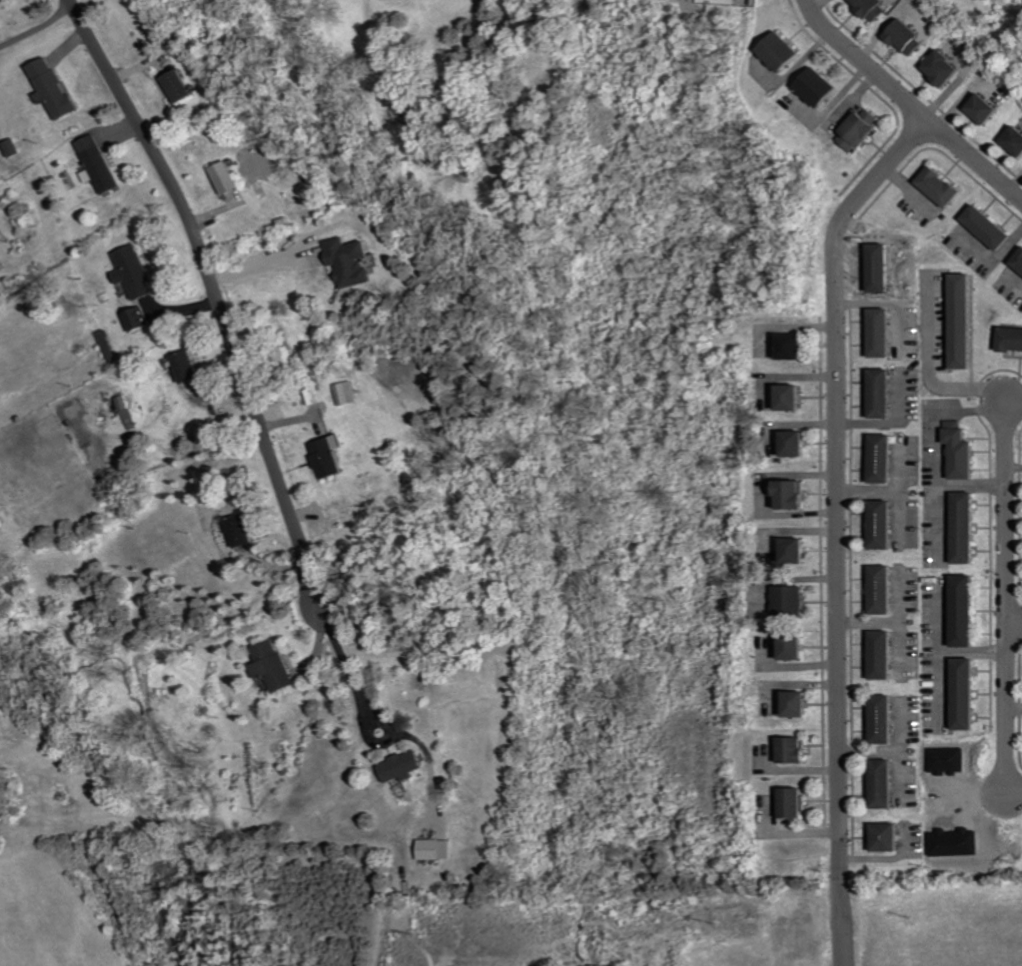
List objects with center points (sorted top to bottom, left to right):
building: (872, 8)
building: (909, 37)
building: (785, 51)
building: (948, 68)
building: (181, 86)
building: (822, 87)
building: (55, 88)
road: (910, 105)
building: (988, 108)
building: (862, 130)
building: (1016, 139)
building: (15, 147)
building: (101, 164)
building: (229, 177)
road: (1014, 180)
building: (943, 186)
building: (989, 226)
building: (352, 261)
building: (1019, 261)
road: (261, 264)
building: (137, 271)
road: (1014, 283)
road: (216, 295)
building: (142, 319)
building: (964, 320)
building: (883, 332)
building: (1012, 338)
building: (797, 346)
building: (191, 366)
building: (346, 393)
building: (884, 393)
building: (796, 397)
road: (1013, 401)
road: (890, 421)
building: (800, 443)
road: (932, 446)
building: (963, 450)
building: (332, 456)
building: (885, 458)
road: (1013, 465)
road: (837, 478)
road: (893, 491)
building: (795, 494)
road: (899, 515)
road: (935, 520)
building: (885, 524)
building: (968, 527)
building: (246, 530)
building: (800, 550)
building: (886, 589)
road: (1006, 596)
building: (795, 601)
building: (968, 610)
road: (892, 620)
road: (1014, 626)
road: (898, 643)
building: (800, 647)
road: (937, 652)
building: (886, 654)
road: (347, 664)
building: (276, 665)
road: (937, 687)
building: (970, 693)
building: (803, 703)
road: (1014, 707)
building: (887, 719)
building: (799, 749)
road: (891, 751)
building: (404, 766)
road: (898, 774)
building: (888, 784)
road: (1013, 793)
building: (799, 803)
building: (892, 837)
building: (437, 849)
road: (884, 856)
road: (842, 918)

